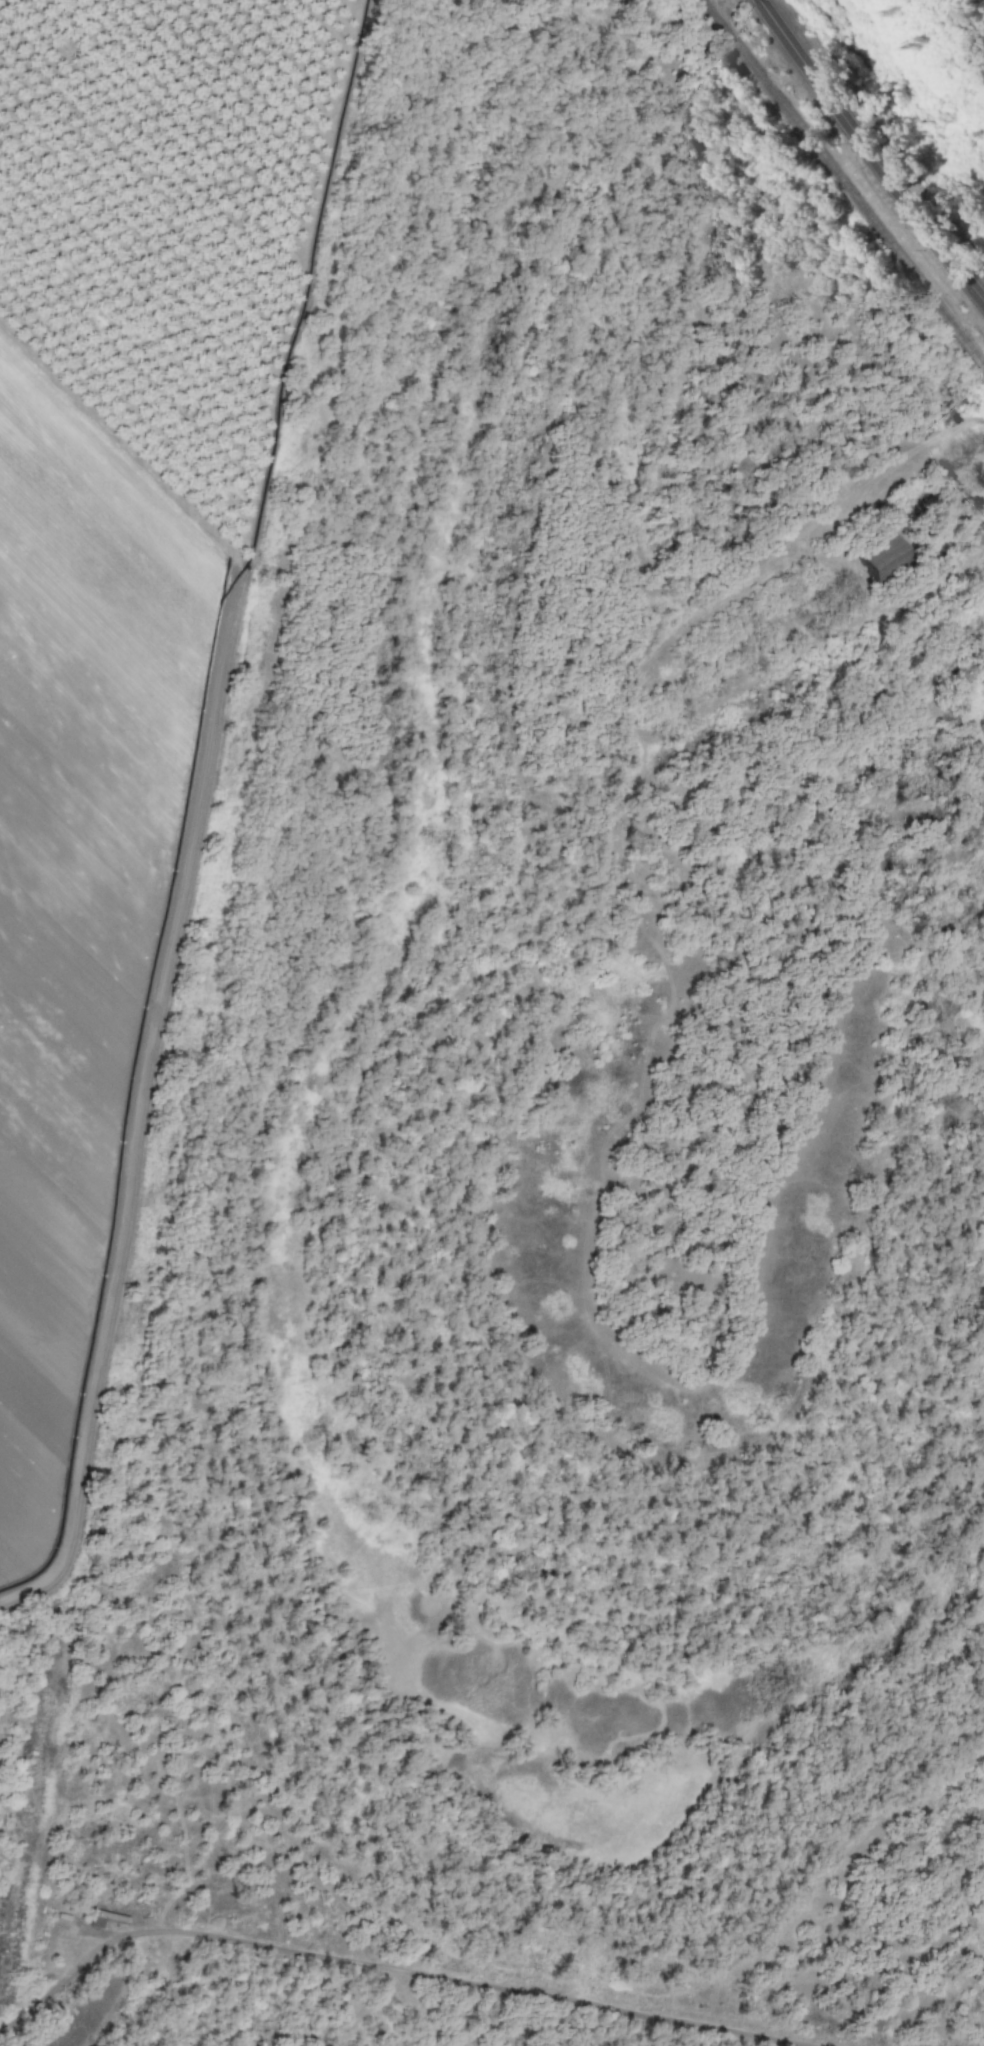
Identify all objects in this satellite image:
road: (869, 153)
railway: (843, 180)
road: (949, 457)
building: (879, 555)
crop: (123, 581)
road: (383, 1971)

